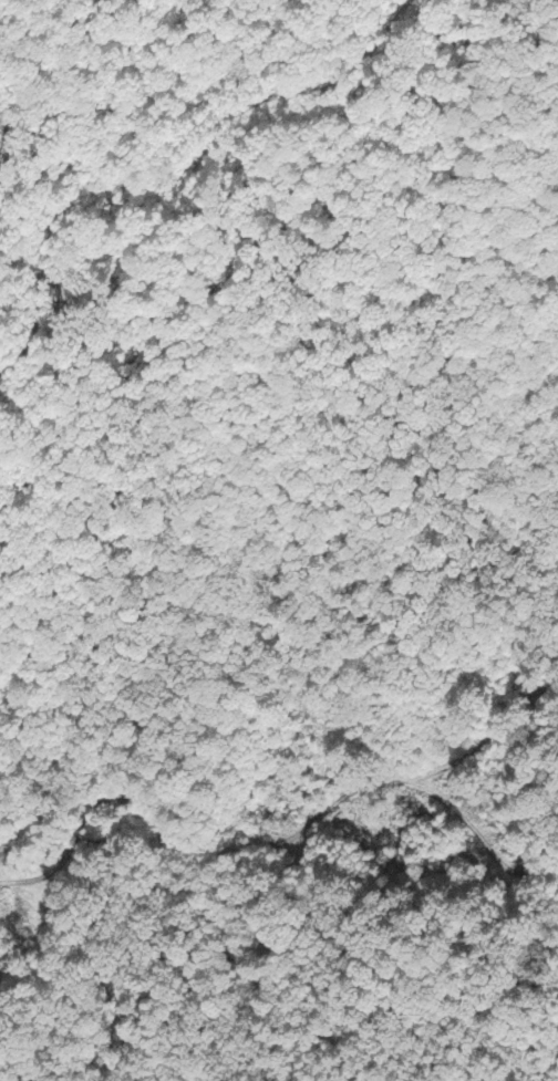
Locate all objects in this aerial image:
road: (154, 100)
road: (467, 740)
road: (303, 814)

